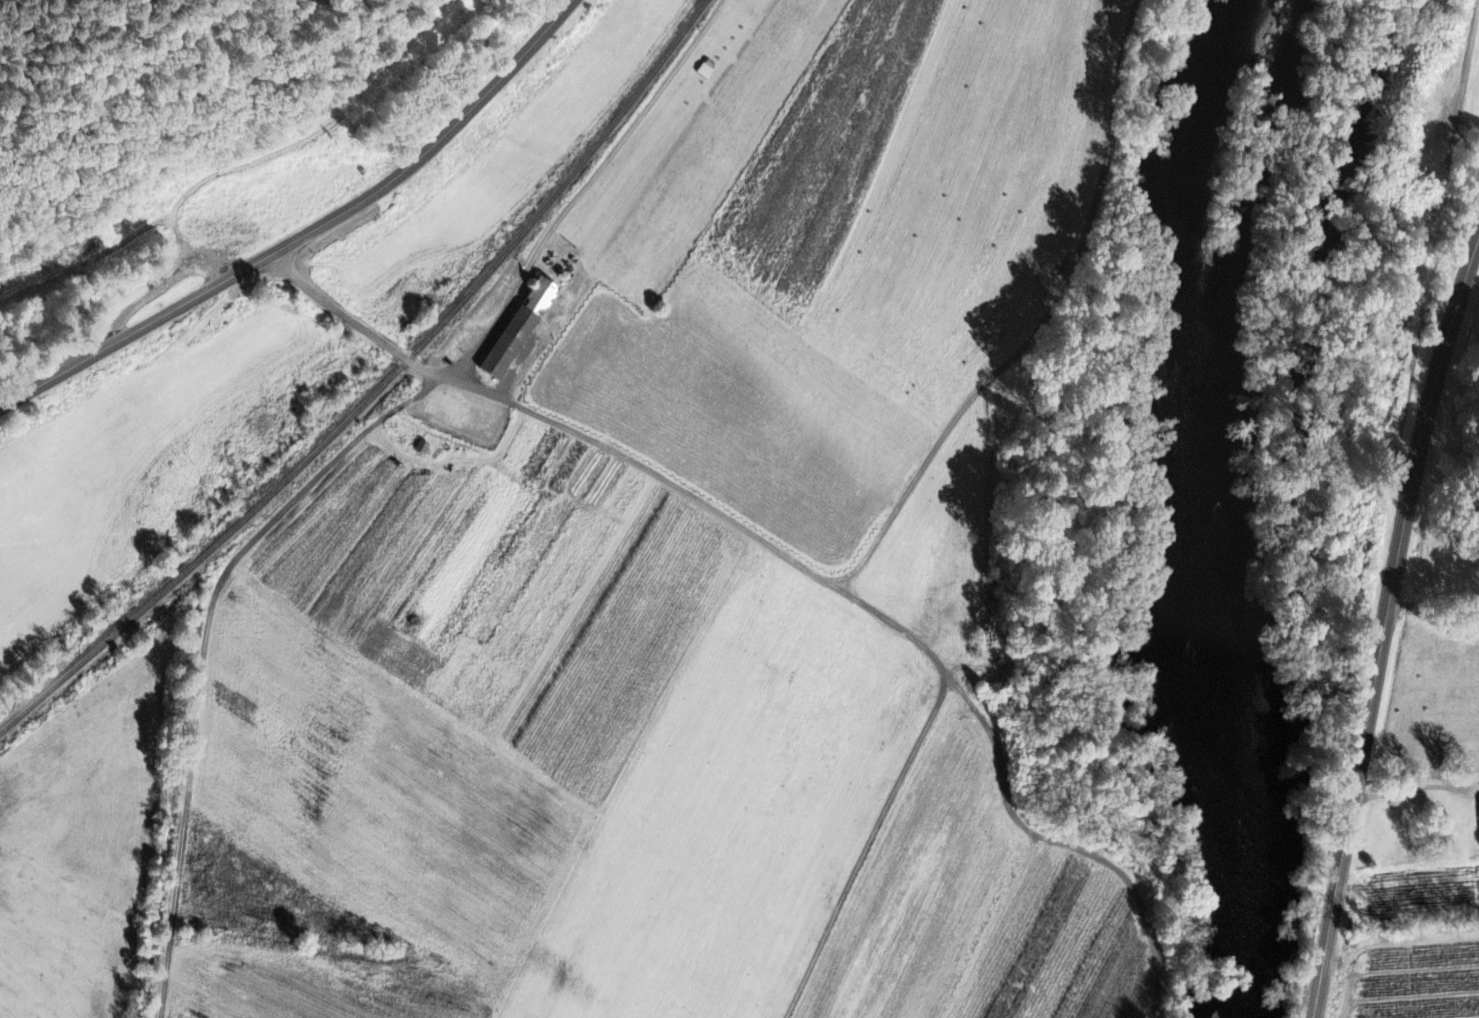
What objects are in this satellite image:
road: (310, 232)
building: (523, 330)
railway: (377, 390)
river: (1172, 420)
road: (552, 422)
road: (1434, 603)
road: (1387, 629)
river: (1243, 932)

